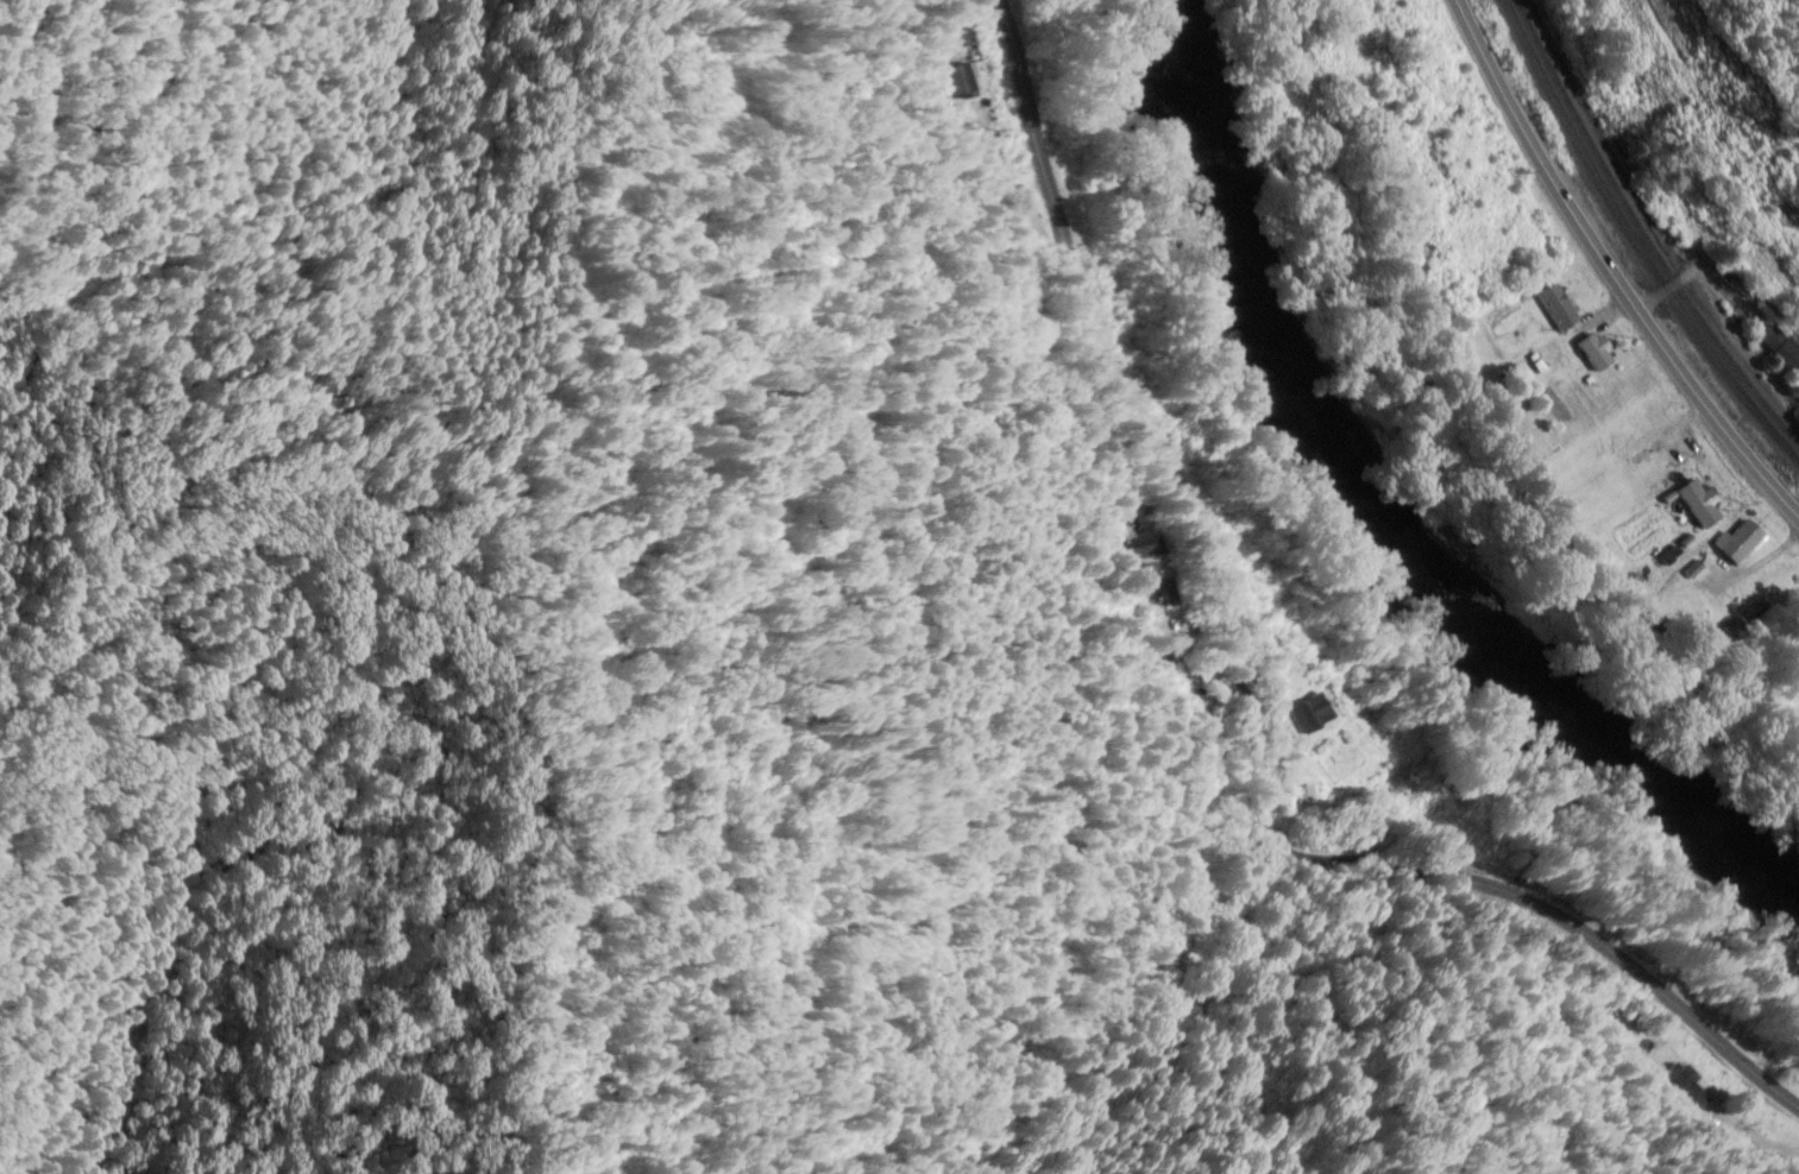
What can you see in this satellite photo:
railway: (1642, 233)
building: (1765, 270)
road: (1608, 271)
road: (1718, 272)
building: (1554, 308)
building: (1591, 352)
building: (1780, 352)
building: (1616, 468)
river: (1383, 517)
building: (1737, 545)
building: (1155, 576)
building: (1766, 583)
building: (1747, 611)
building: (1694, 613)
road: (1245, 703)
building: (1308, 715)

